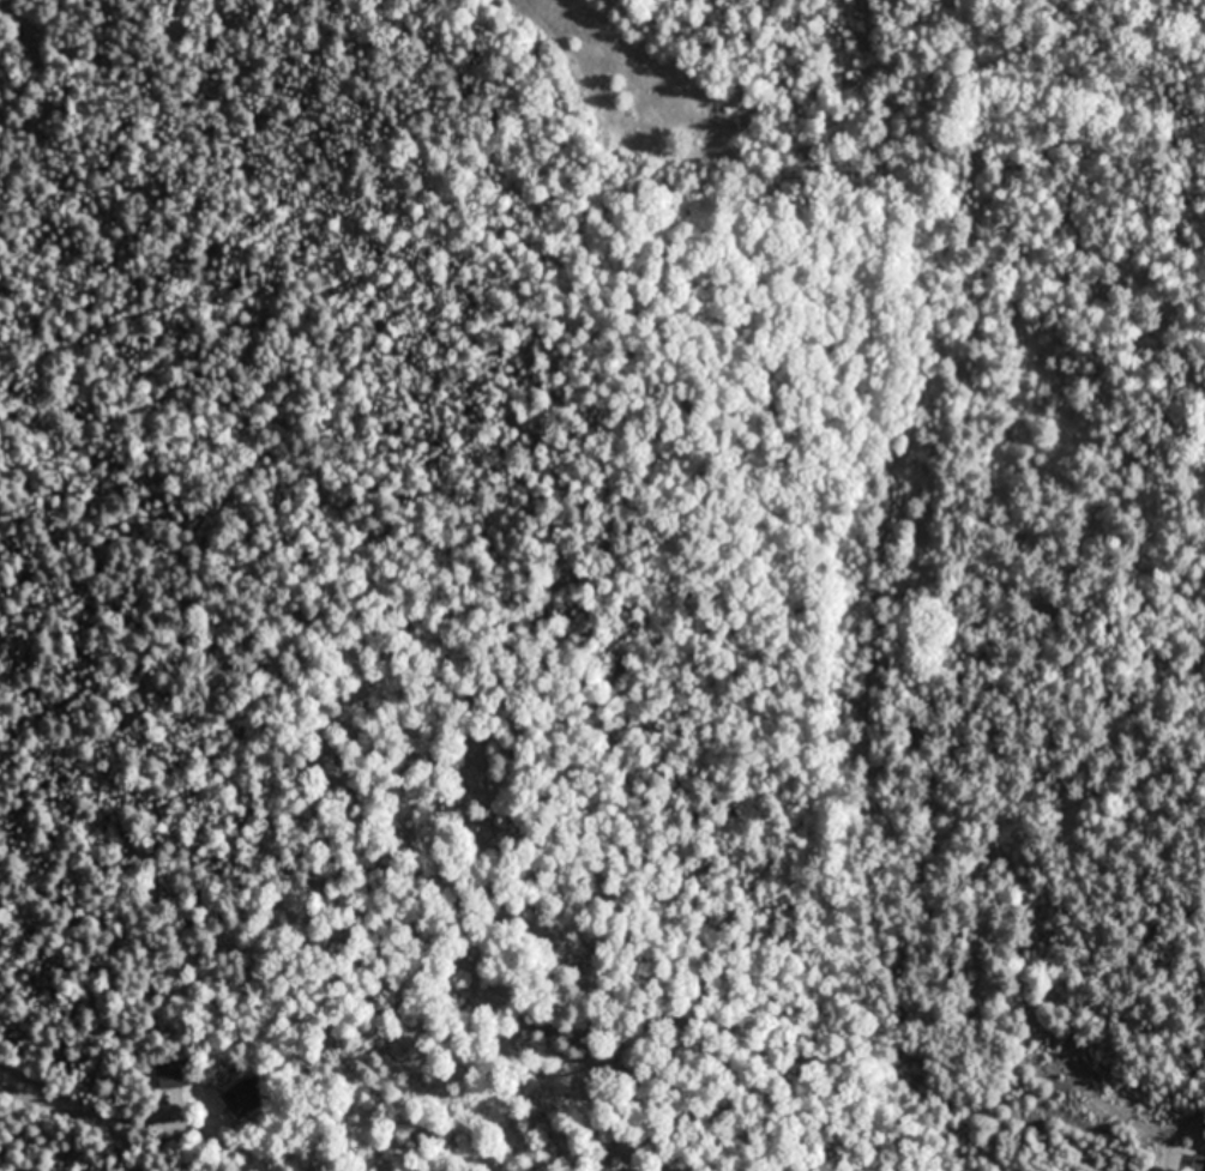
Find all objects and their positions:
building: (240, 1098)
road: (91, 1118)
building: (1203, 1161)

